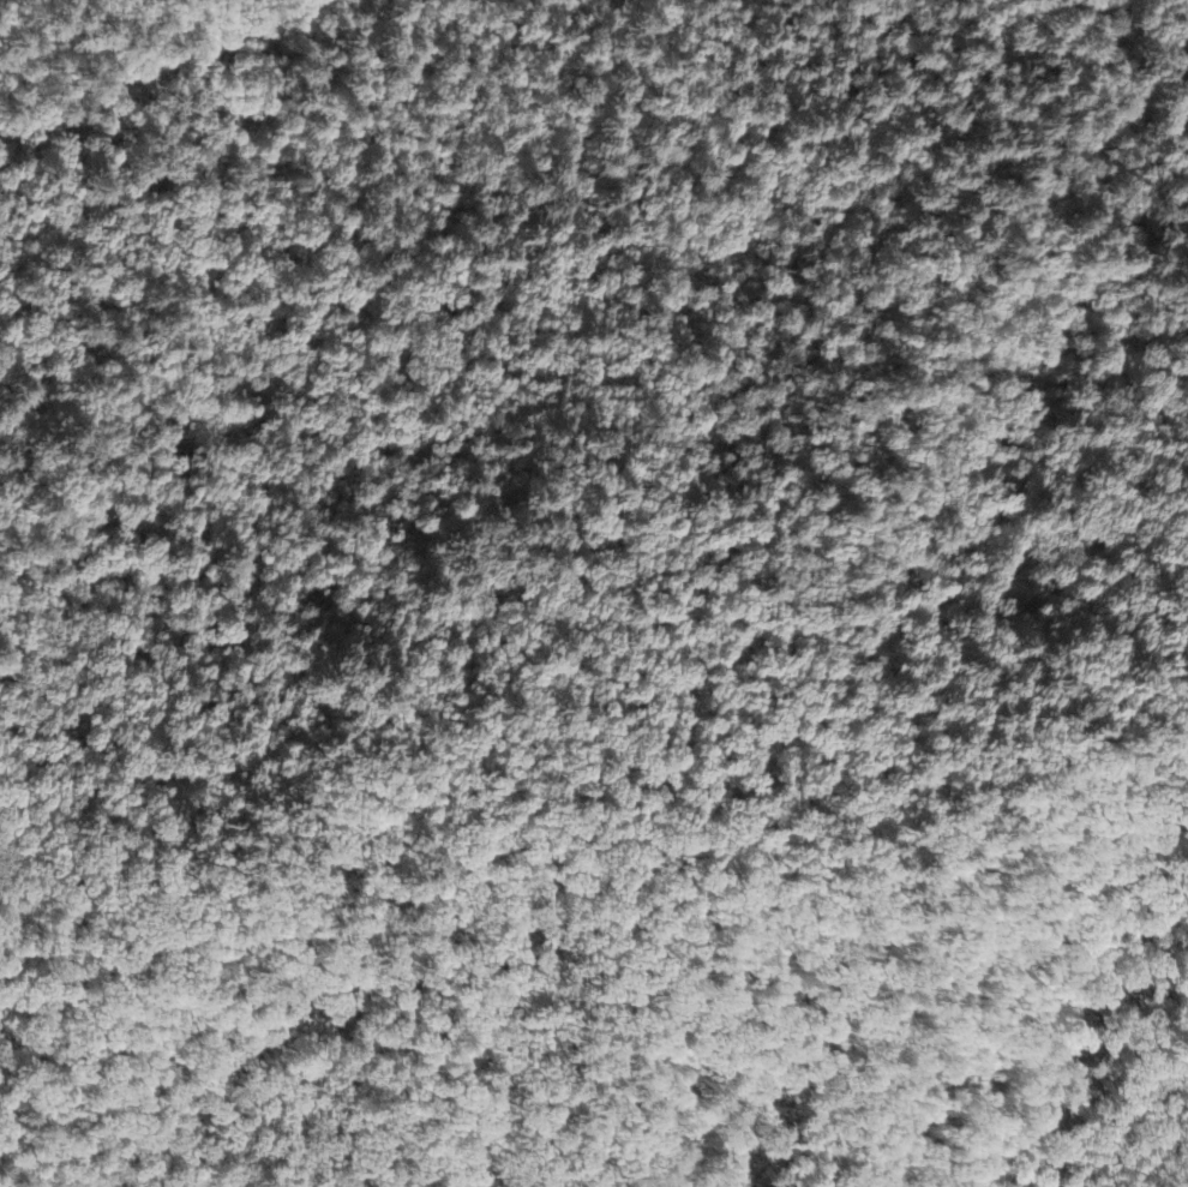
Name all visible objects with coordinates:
road: (301, 187)

